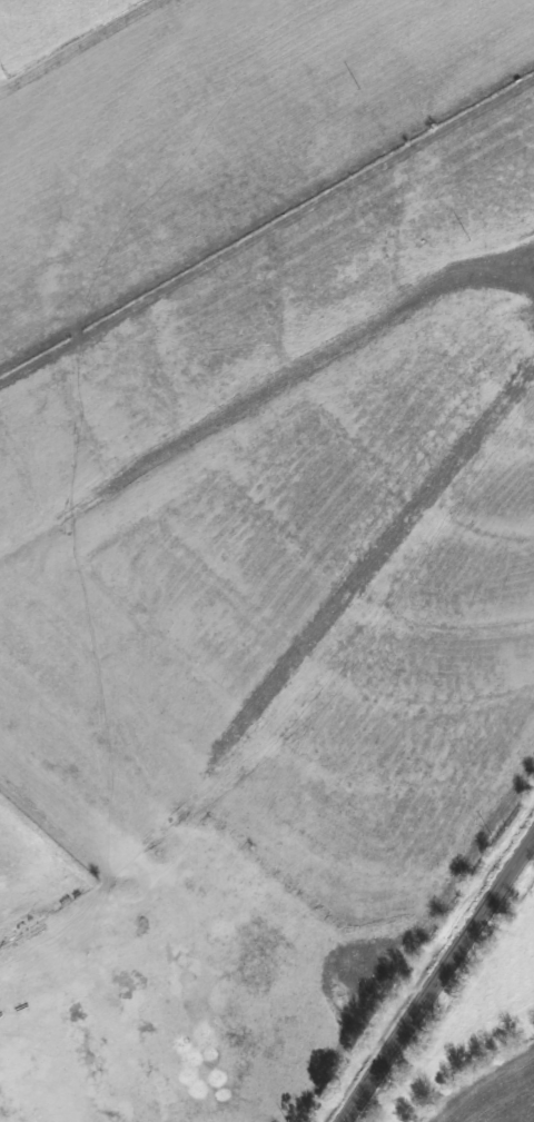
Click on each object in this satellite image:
road: (434, 971)

